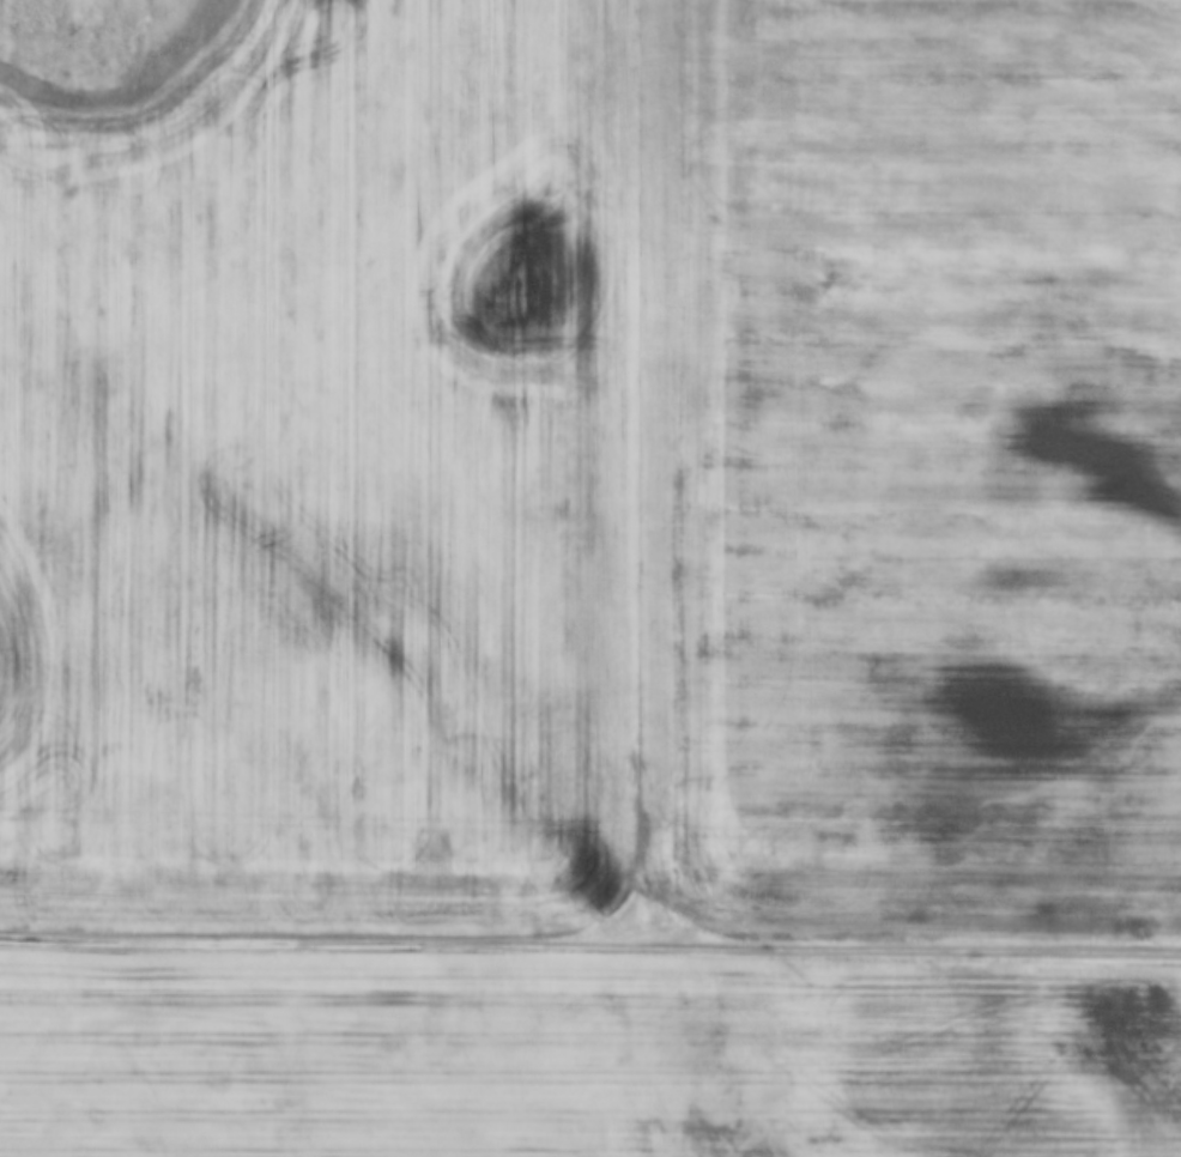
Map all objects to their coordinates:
road: (589, 937)

